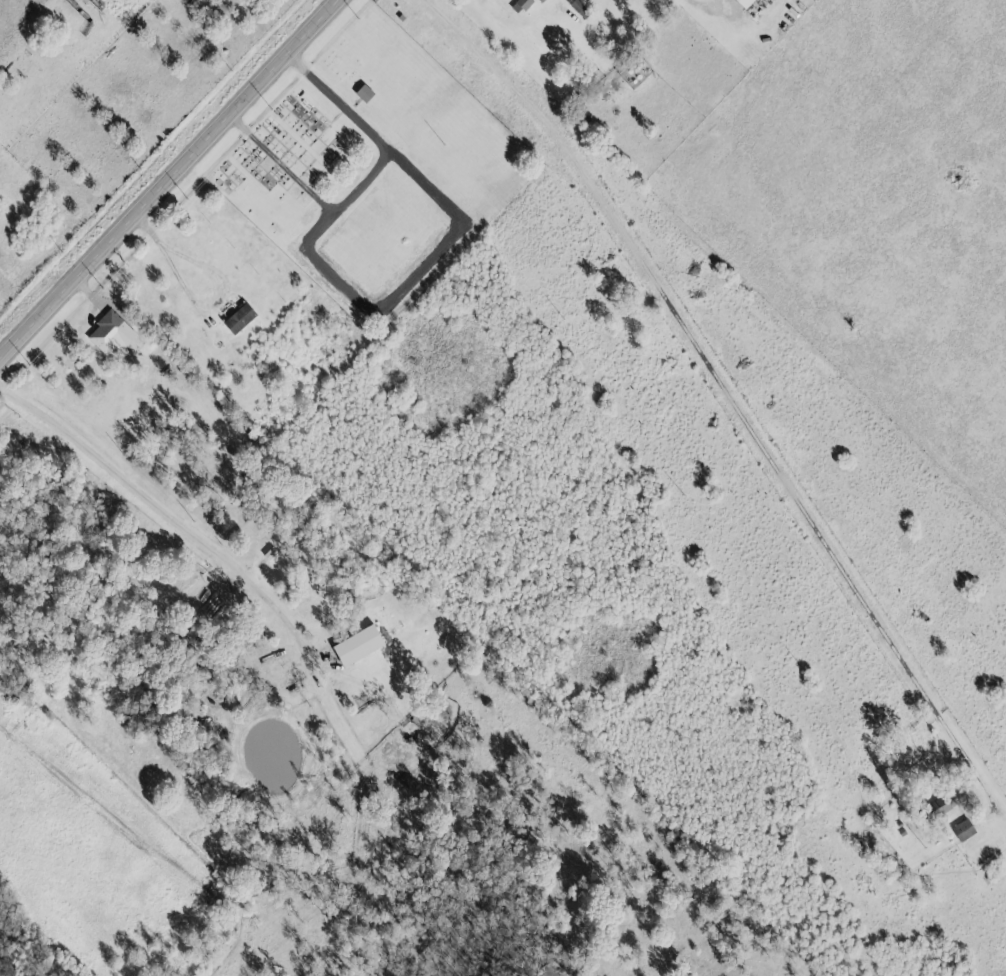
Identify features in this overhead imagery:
building: (741, 3)
building: (521, 4)
building: (362, 93)
park: (372, 172)
road: (167, 177)
road: (360, 184)
road: (219, 288)
building: (237, 319)
building: (105, 332)
road: (736, 391)
road: (162, 519)
building: (355, 645)
building: (934, 810)
building: (961, 831)

